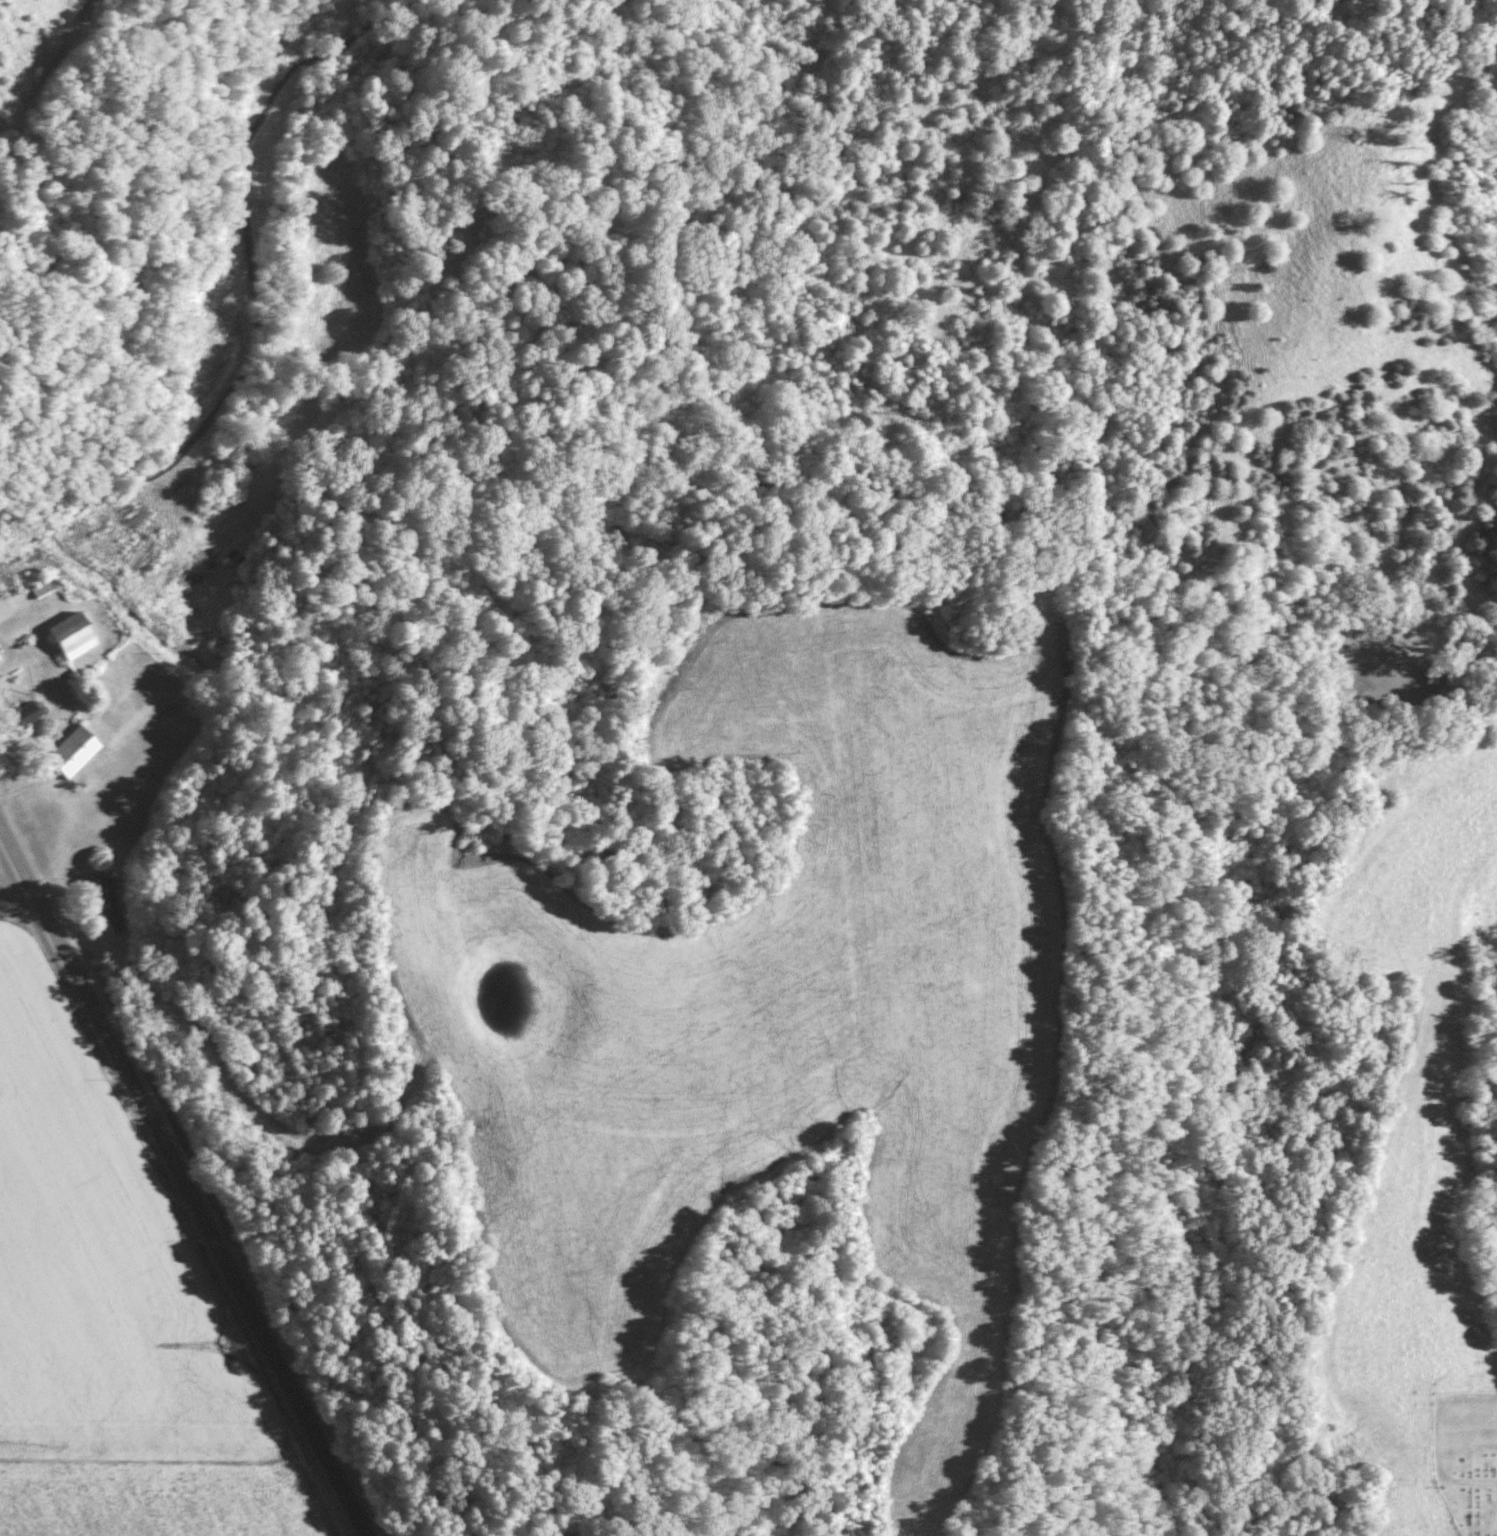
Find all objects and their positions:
road: (207, 294)
building: (132, 561)
building: (42, 588)
building: (5, 606)
building: (73, 633)
building: (0, 658)
building: (26, 711)
building: (75, 749)
building: (109, 900)
road: (182, 1182)
road: (1492, 1397)
park: (1465, 1457)

